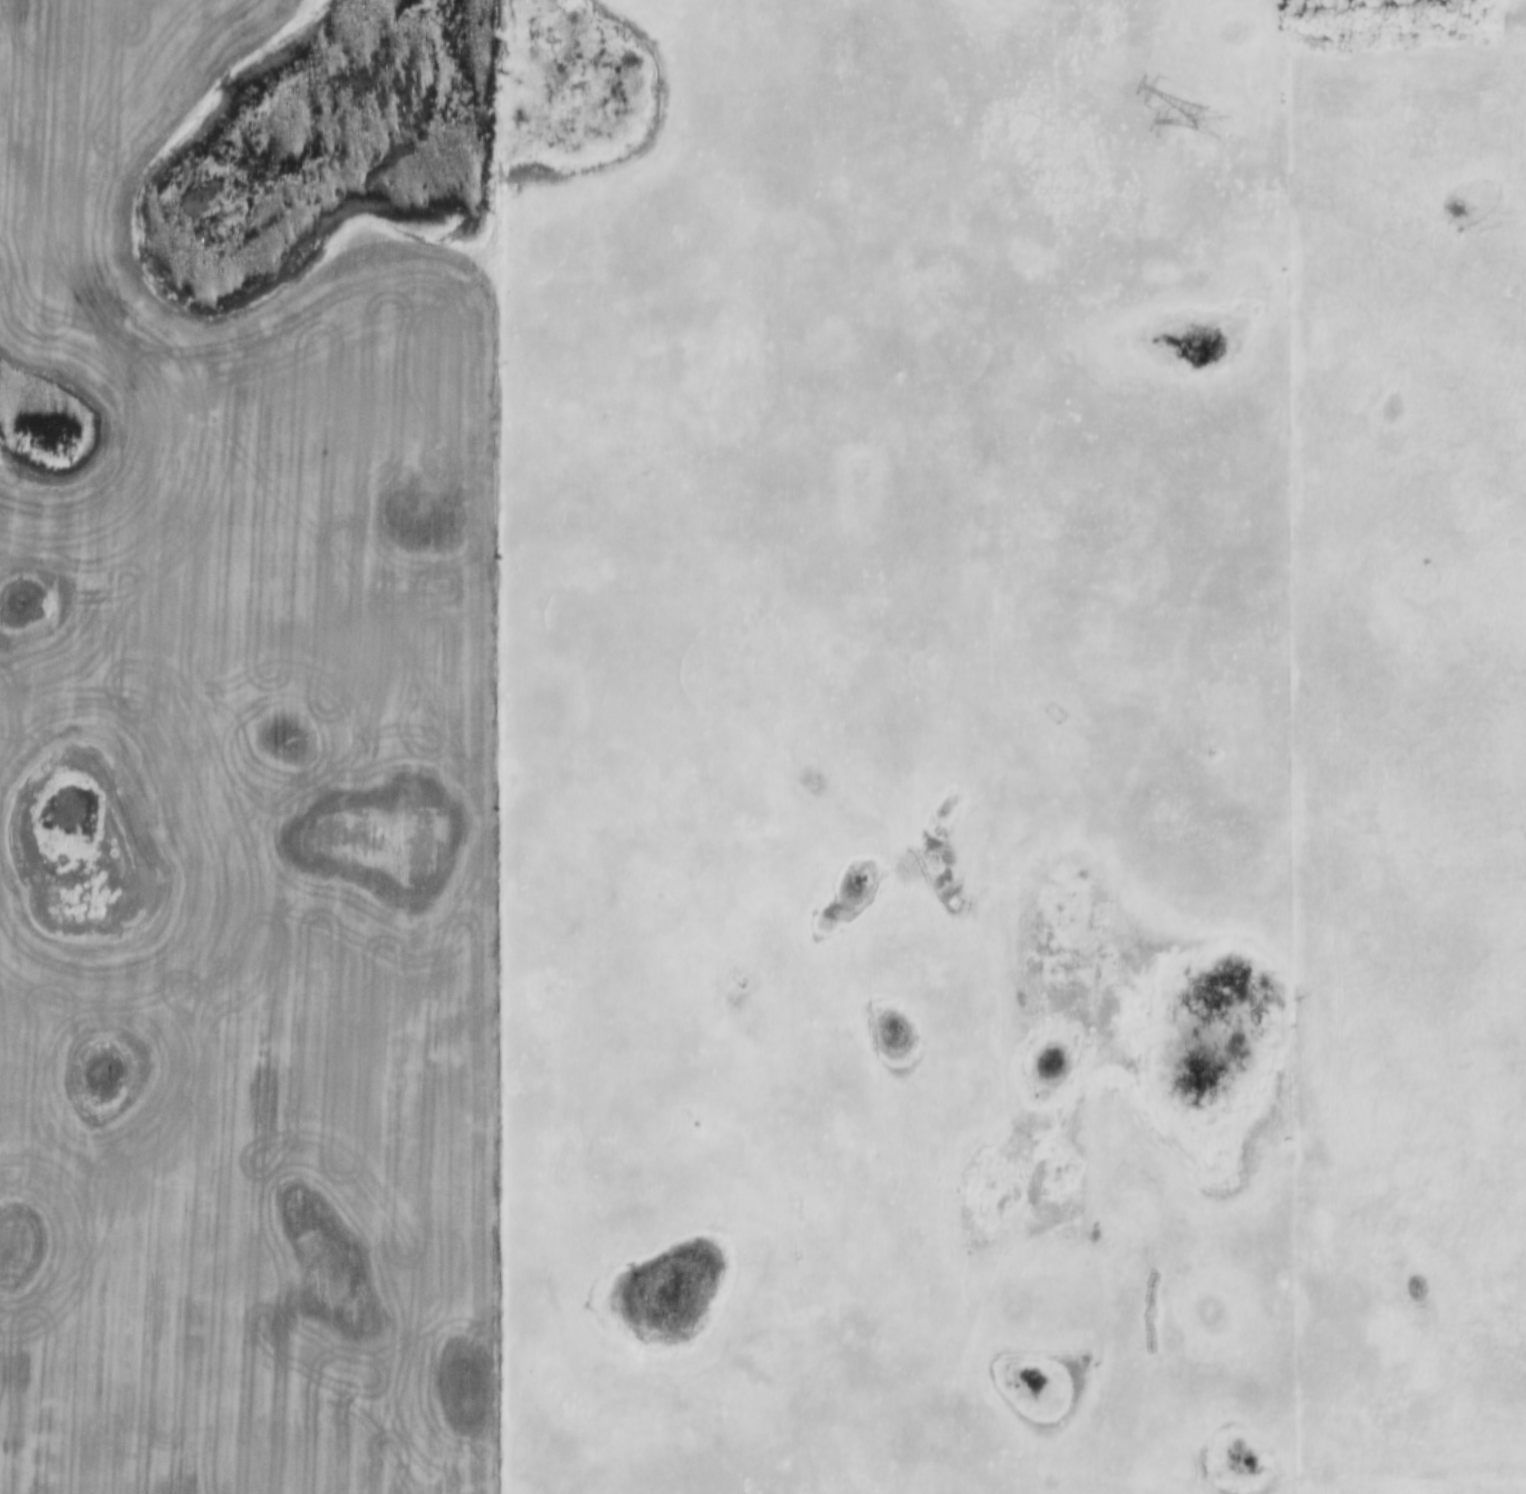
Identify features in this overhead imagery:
power tower: (1216, 123)

